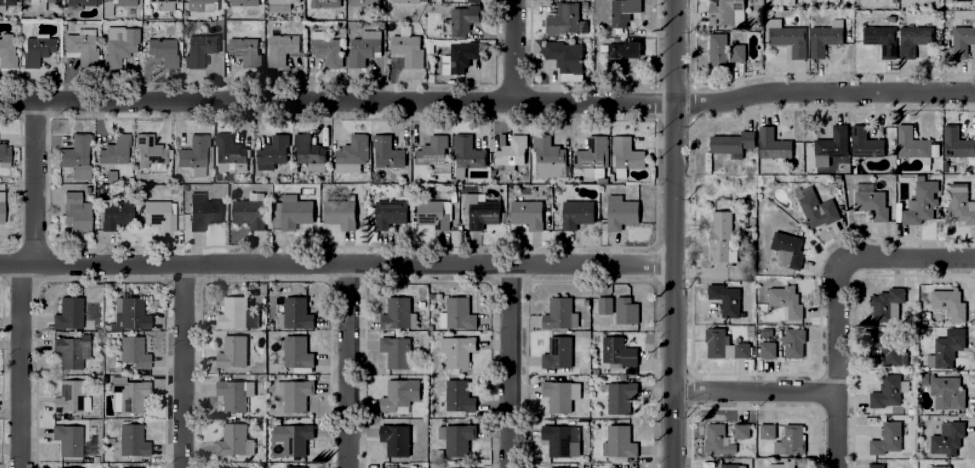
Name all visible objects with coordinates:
building: (7, 0)
building: (175, 0)
building: (468, 0)
building: (406, 1)
building: (781, 1)
building: (824, 1)
building: (364, 2)
building: (77, 3)
building: (325, 3)
building: (938, 3)
building: (166, 4)
building: (202, 4)
building: (36, 5)
building: (280, 5)
building: (238, 7)
building: (107, 9)
building: (624, 11)
building: (727, 12)
building: (464, 17)
building: (565, 19)
building: (788, 36)
building: (826, 37)
building: (882, 38)
building: (914, 39)
building: (964, 40)
building: (82, 45)
building: (121, 45)
building: (199, 46)
building: (426, 46)
building: (280, 47)
building: (364, 47)
building: (38, 48)
building: (326, 48)
building: (7, 50)
building: (164, 50)
building: (245, 50)
building: (406, 50)
building: (725, 50)
road: (511, 51)
building: (623, 55)
building: (460, 57)
building: (566, 58)
road: (488, 102)
building: (732, 142)
building: (957, 142)
building: (866, 143)
building: (832, 145)
building: (916, 145)
building: (150, 148)
building: (510, 148)
building: (773, 148)
building: (116, 149)
building: (432, 150)
building: (229, 151)
building: (386, 151)
building: (272, 152)
building: (309, 152)
building: (195, 153)
building: (4, 154)
building: (351, 154)
building: (467, 155)
building: (76, 156)
building: (592, 156)
building: (626, 156)
building: (549, 158)
building: (111, 175)
road: (34, 185)
building: (871, 202)
building: (922, 202)
building: (960, 203)
building: (816, 207)
building: (1, 209)
building: (203, 210)
building: (250, 210)
building: (75, 211)
building: (295, 211)
building: (482, 211)
building: (116, 212)
building: (341, 212)
building: (621, 212)
building: (159, 213)
building: (390, 213)
building: (435, 213)
building: (527, 213)
building: (577, 214)
road: (673, 234)
building: (722, 237)
building: (787, 249)
road: (904, 259)
road: (336, 267)
building: (429, 297)
building: (726, 299)
building: (786, 302)
building: (888, 304)
building: (418, 305)
building: (606, 305)
building: (949, 305)
building: (626, 311)
building: (72, 313)
building: (132, 313)
building: (236, 313)
building: (295, 313)
building: (558, 313)
building: (398, 314)
building: (456, 314)
building: (104, 327)
building: (428, 328)
building: (750, 331)
building: (767, 332)
building: (794, 341)
building: (725, 345)
building: (889, 348)
building: (768, 350)
building: (72, 351)
building: (134, 351)
building: (232, 351)
building: (457, 351)
building: (946, 351)
building: (297, 352)
building: (396, 352)
building: (558, 352)
building: (618, 352)
road: (833, 363)
road: (19, 367)
road: (181, 367)
road: (346, 367)
road: (508, 367)
building: (888, 391)
building: (948, 392)
building: (128, 393)
road: (752, 393)
building: (235, 394)
building: (296, 395)
building: (71, 396)
building: (399, 396)
building: (458, 396)
building: (558, 396)
building: (619, 396)
building: (768, 431)
building: (726, 437)
building: (68, 438)
building: (133, 439)
building: (296, 439)
building: (456, 439)
building: (947, 439)
building: (234, 440)
building: (790, 440)
building: (395, 441)
building: (890, 441)
building: (561, 442)
building: (619, 442)
building: (87, 457)
building: (789, 464)
building: (876, 465)
building: (733, 466)
building: (940, 466)
building: (70, 467)
building: (127, 467)

